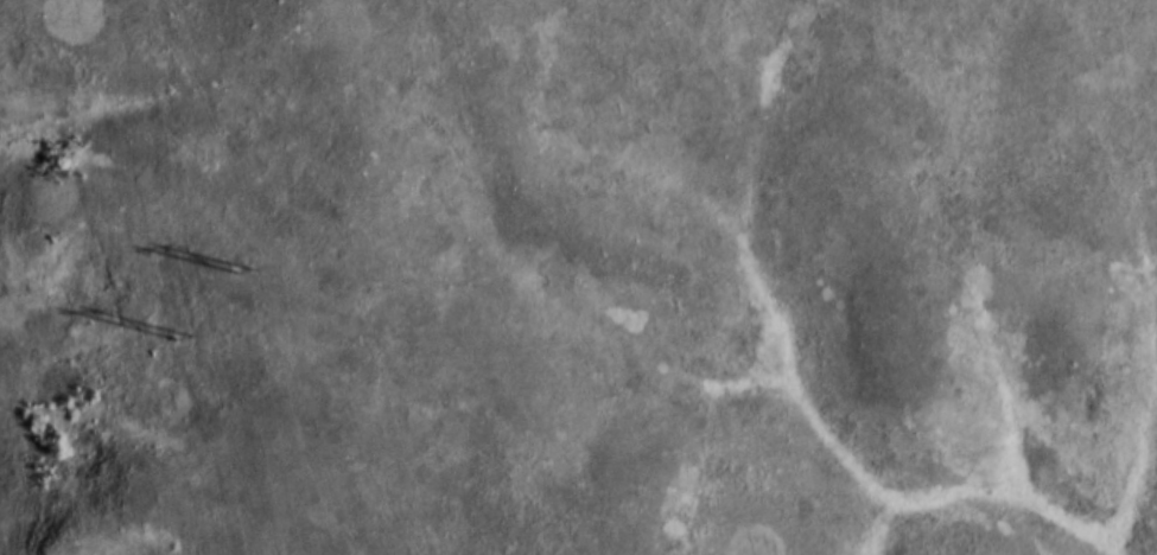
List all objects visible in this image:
power tower: (243, 276)
power tower: (184, 350)

